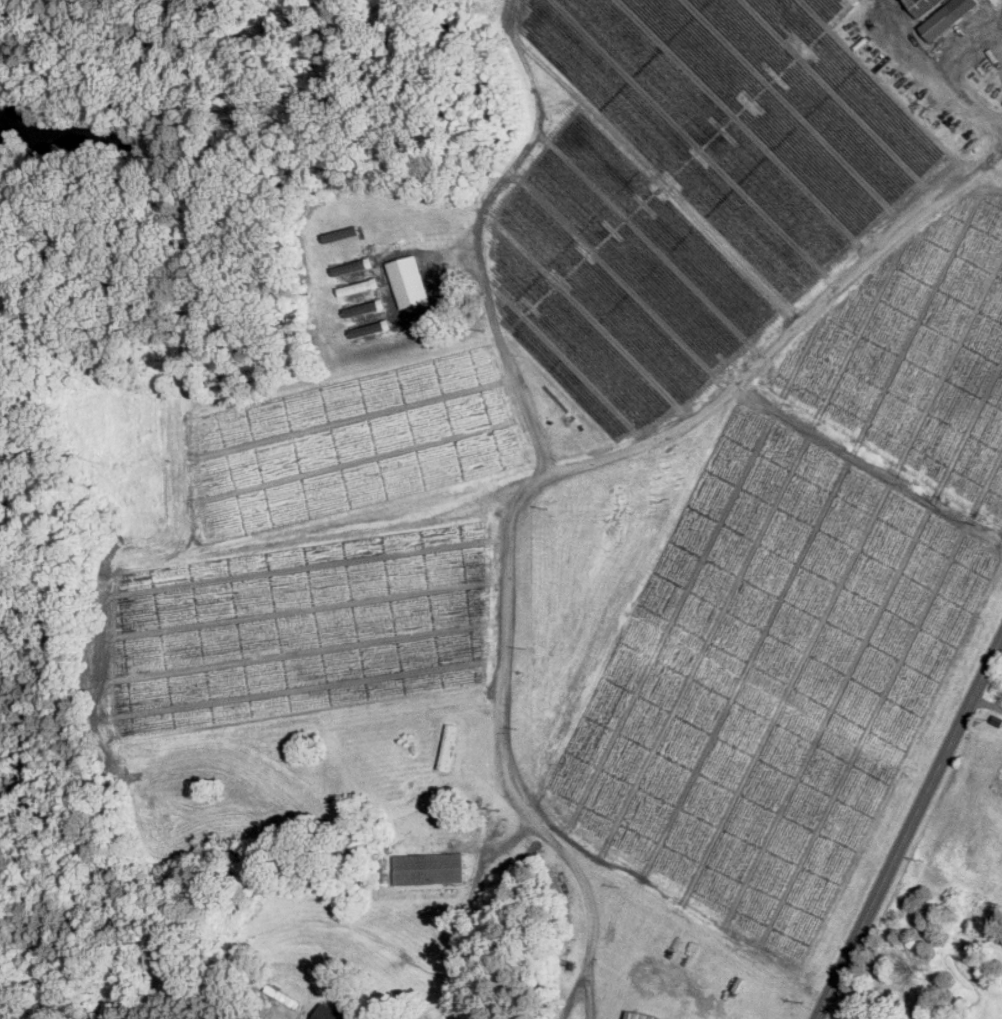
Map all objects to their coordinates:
building: (942, 14)
road: (936, 70)
road: (475, 231)
building: (408, 280)
building: (371, 283)
road: (787, 333)
building: (448, 745)
road: (503, 753)
road: (910, 829)
building: (430, 866)
building: (332, 1013)

